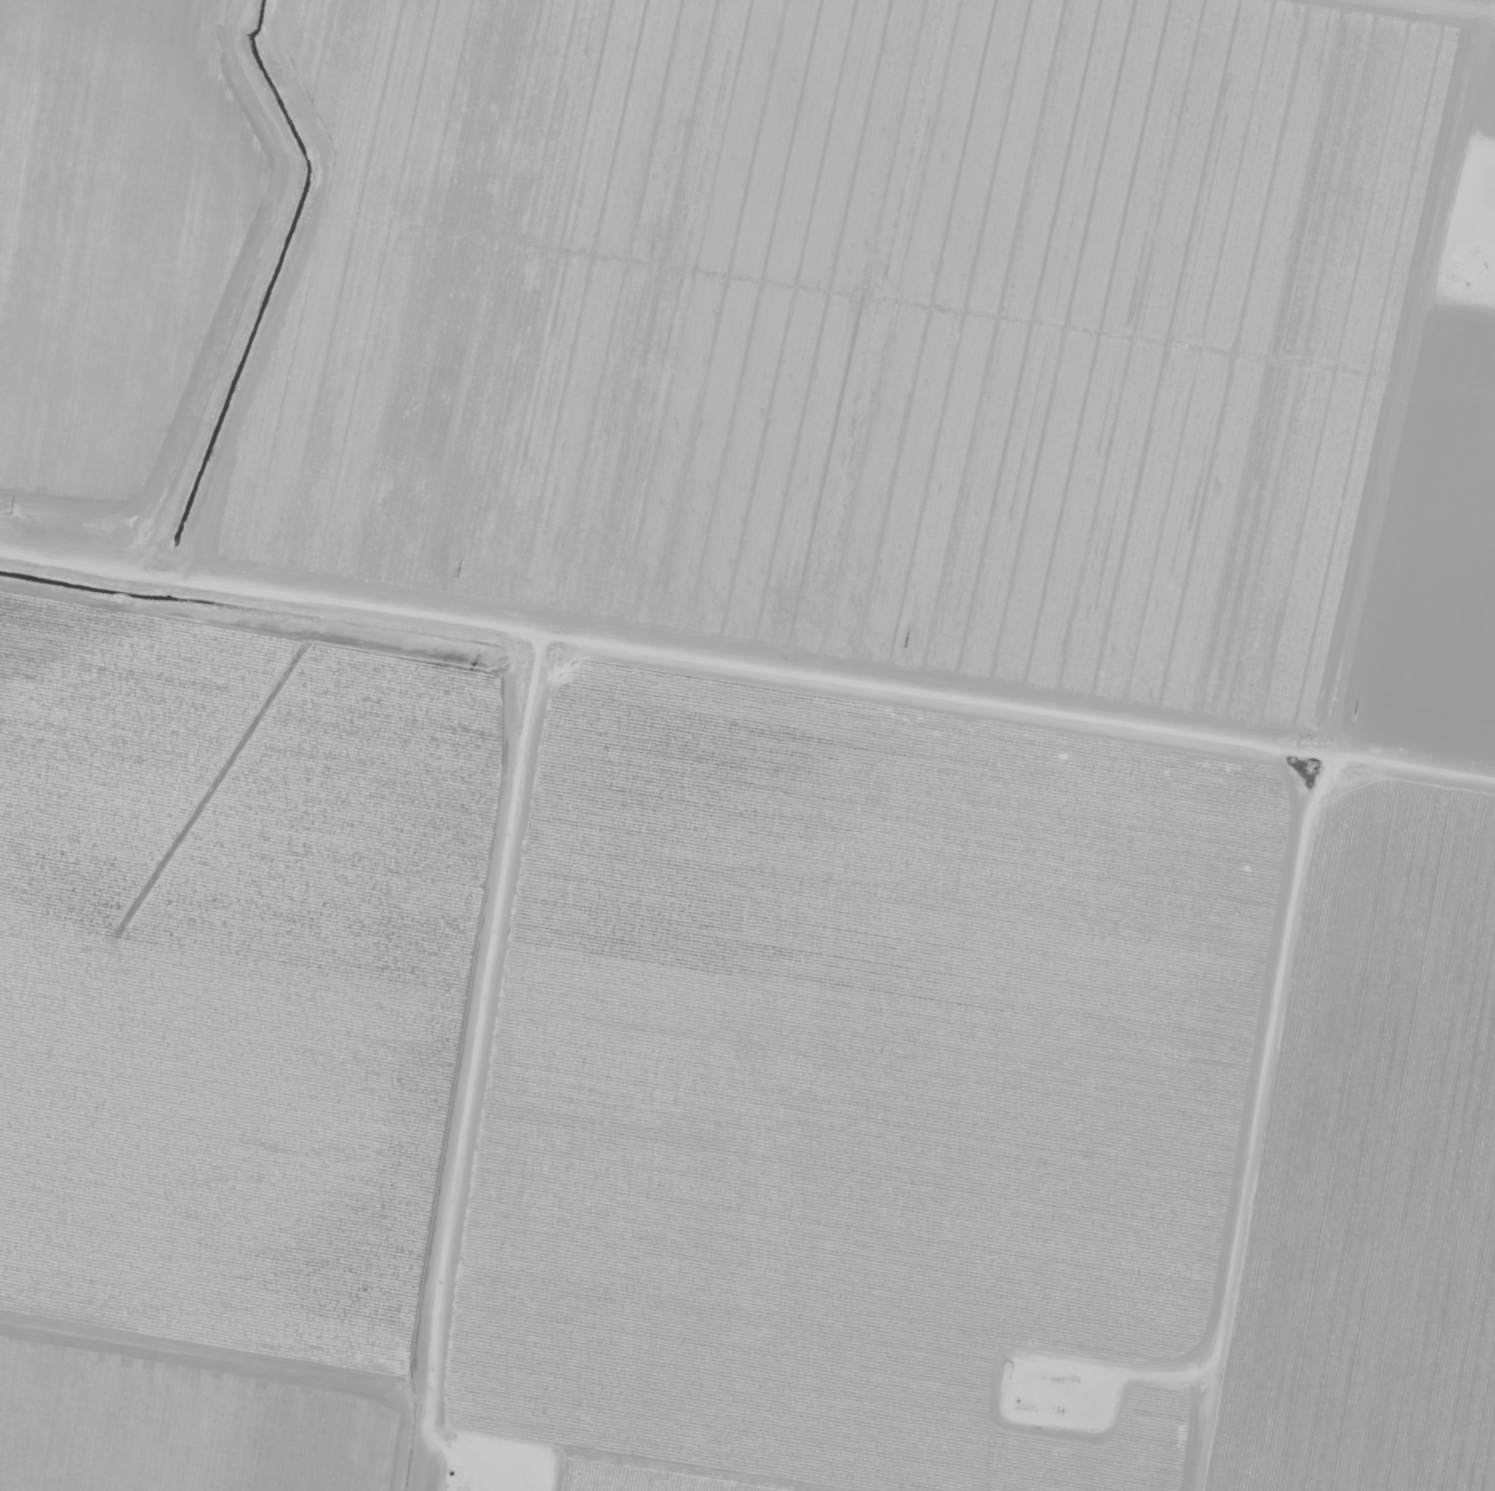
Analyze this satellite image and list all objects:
road: (1405, 14)
power tower: (9, 509)
power tower: (457, 571)
power tower: (906, 642)
power tower: (1353, 712)

